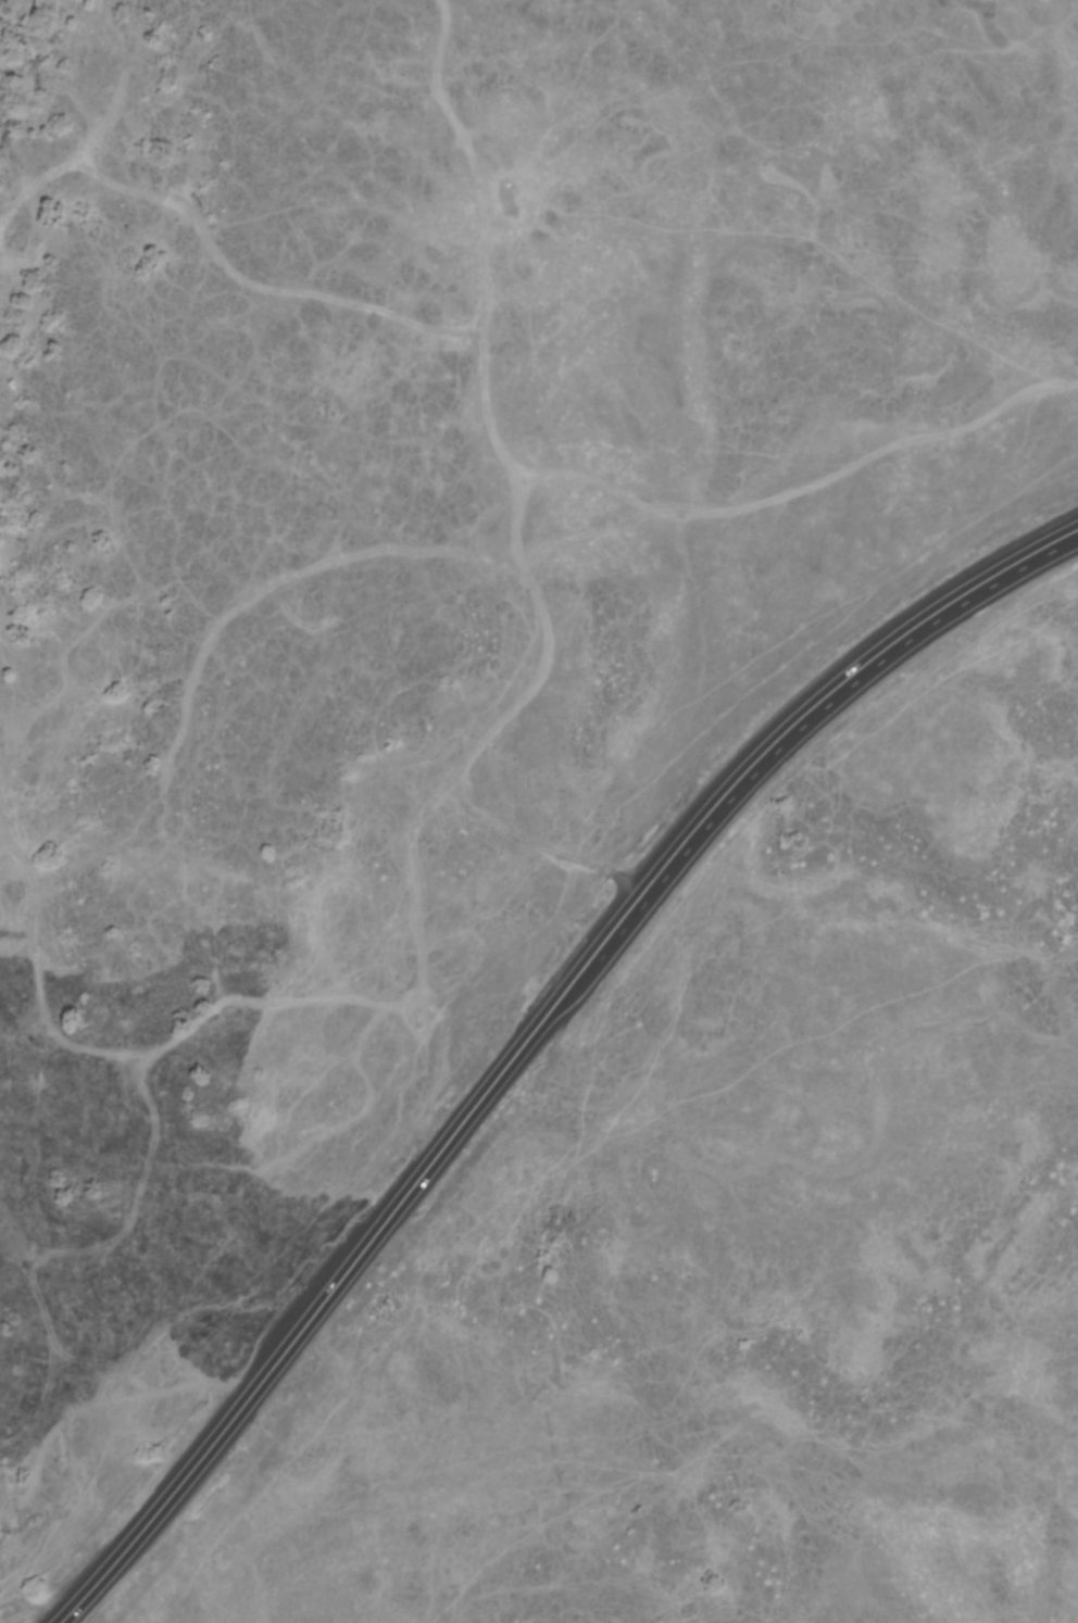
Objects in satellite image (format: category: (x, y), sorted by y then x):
road: (811, 716)
road: (329, 1292)

